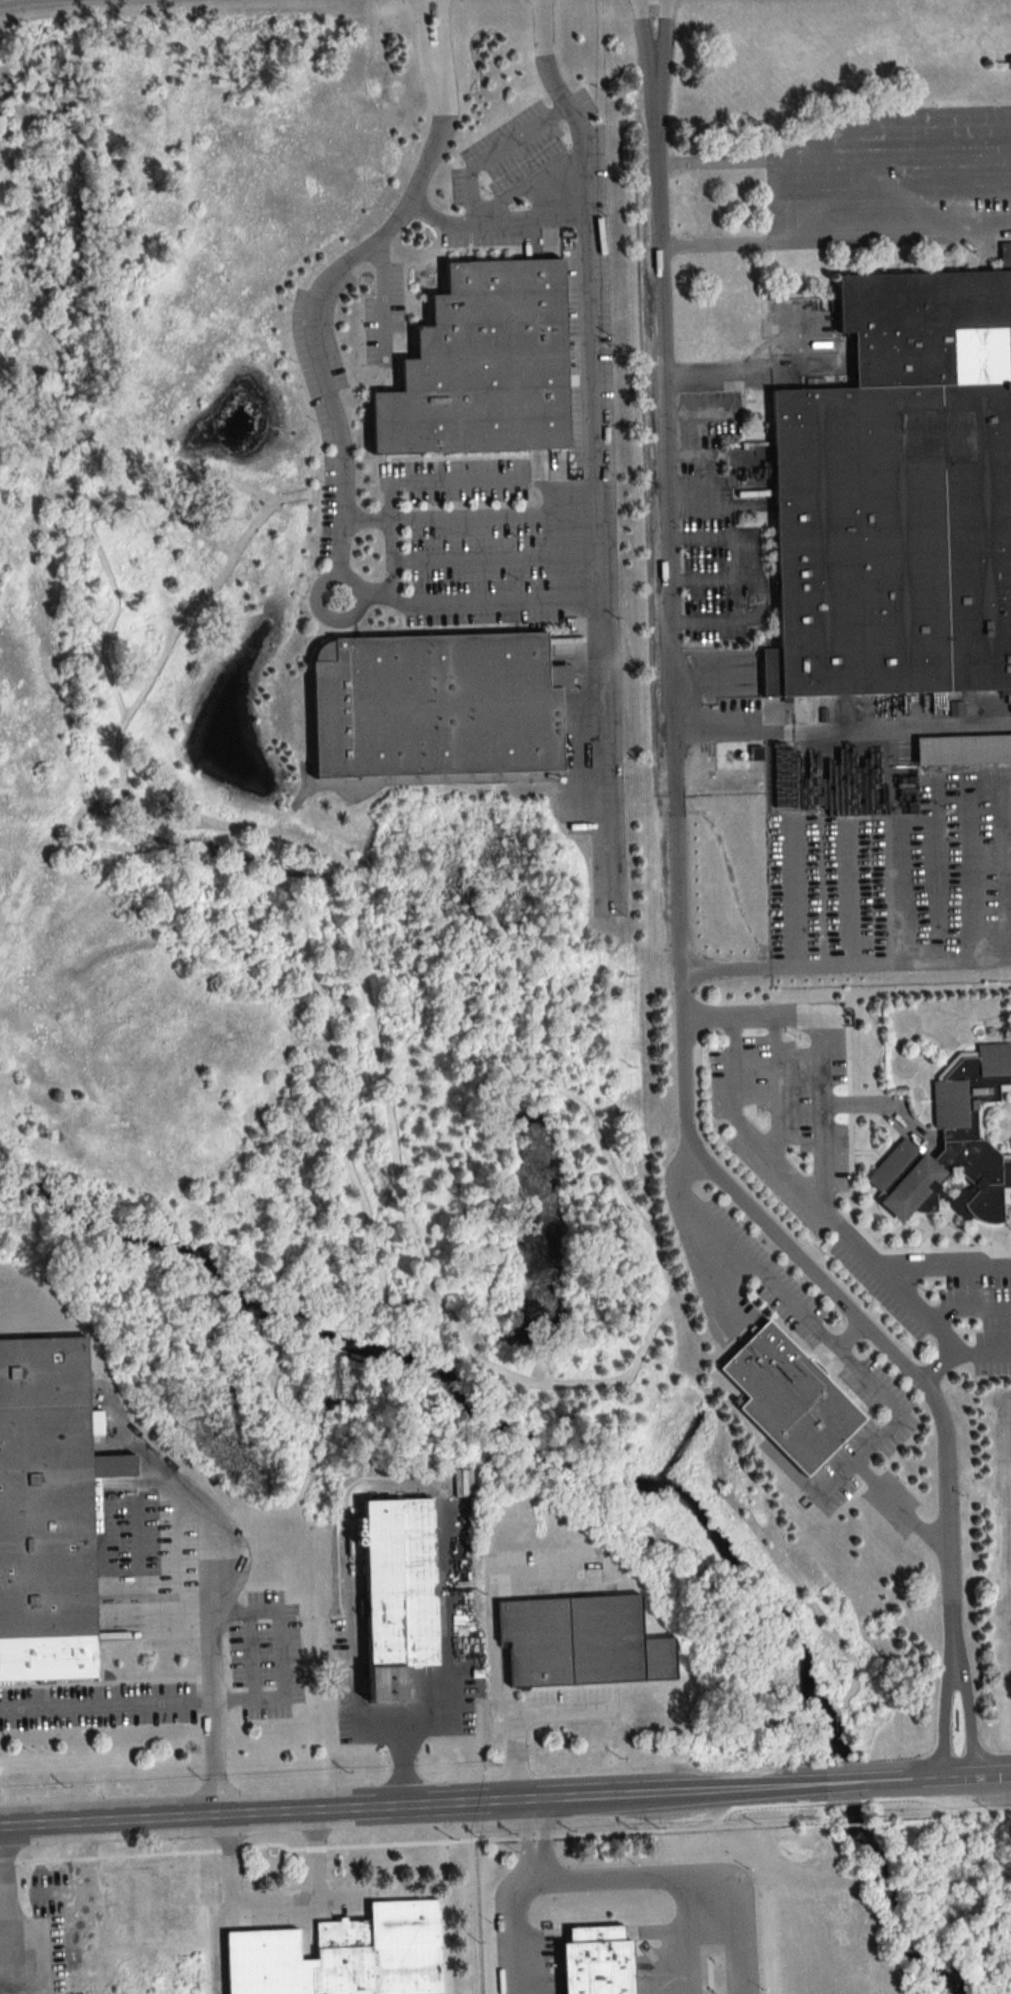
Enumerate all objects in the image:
road: (495, 149)
road: (834, 154)
road: (525, 179)
road: (492, 220)
road: (836, 241)
road: (383, 291)
building: (484, 366)
road: (757, 372)
road: (432, 478)
building: (899, 497)
road: (467, 514)
road: (494, 556)
road: (714, 582)
road: (753, 582)
road: (456, 601)
road: (329, 613)
building: (437, 706)
road: (736, 734)
road: (602, 746)
building: (963, 749)
road: (794, 798)
road: (681, 877)
road: (878, 1104)
road: (743, 1127)
building: (966, 1140)
building: (891, 1165)
road: (824, 1173)
road: (943, 1264)
road: (844, 1334)
road: (984, 1352)
road: (842, 1353)
building: (790, 1400)
road: (419, 1487)
building: (48, 1512)
building: (398, 1593)
building: (581, 1642)
road: (953, 1662)
road: (485, 1689)
road: (156, 1698)
road: (551, 1710)
road: (217, 1756)
road: (968, 1779)
road: (843, 1785)
road: (584, 1799)
road: (203, 1817)
road: (680, 1874)
road: (518, 1892)
road: (314, 1896)
road: (227, 1906)
building: (175, 1919)
building: (343, 1955)
building: (597, 1961)

